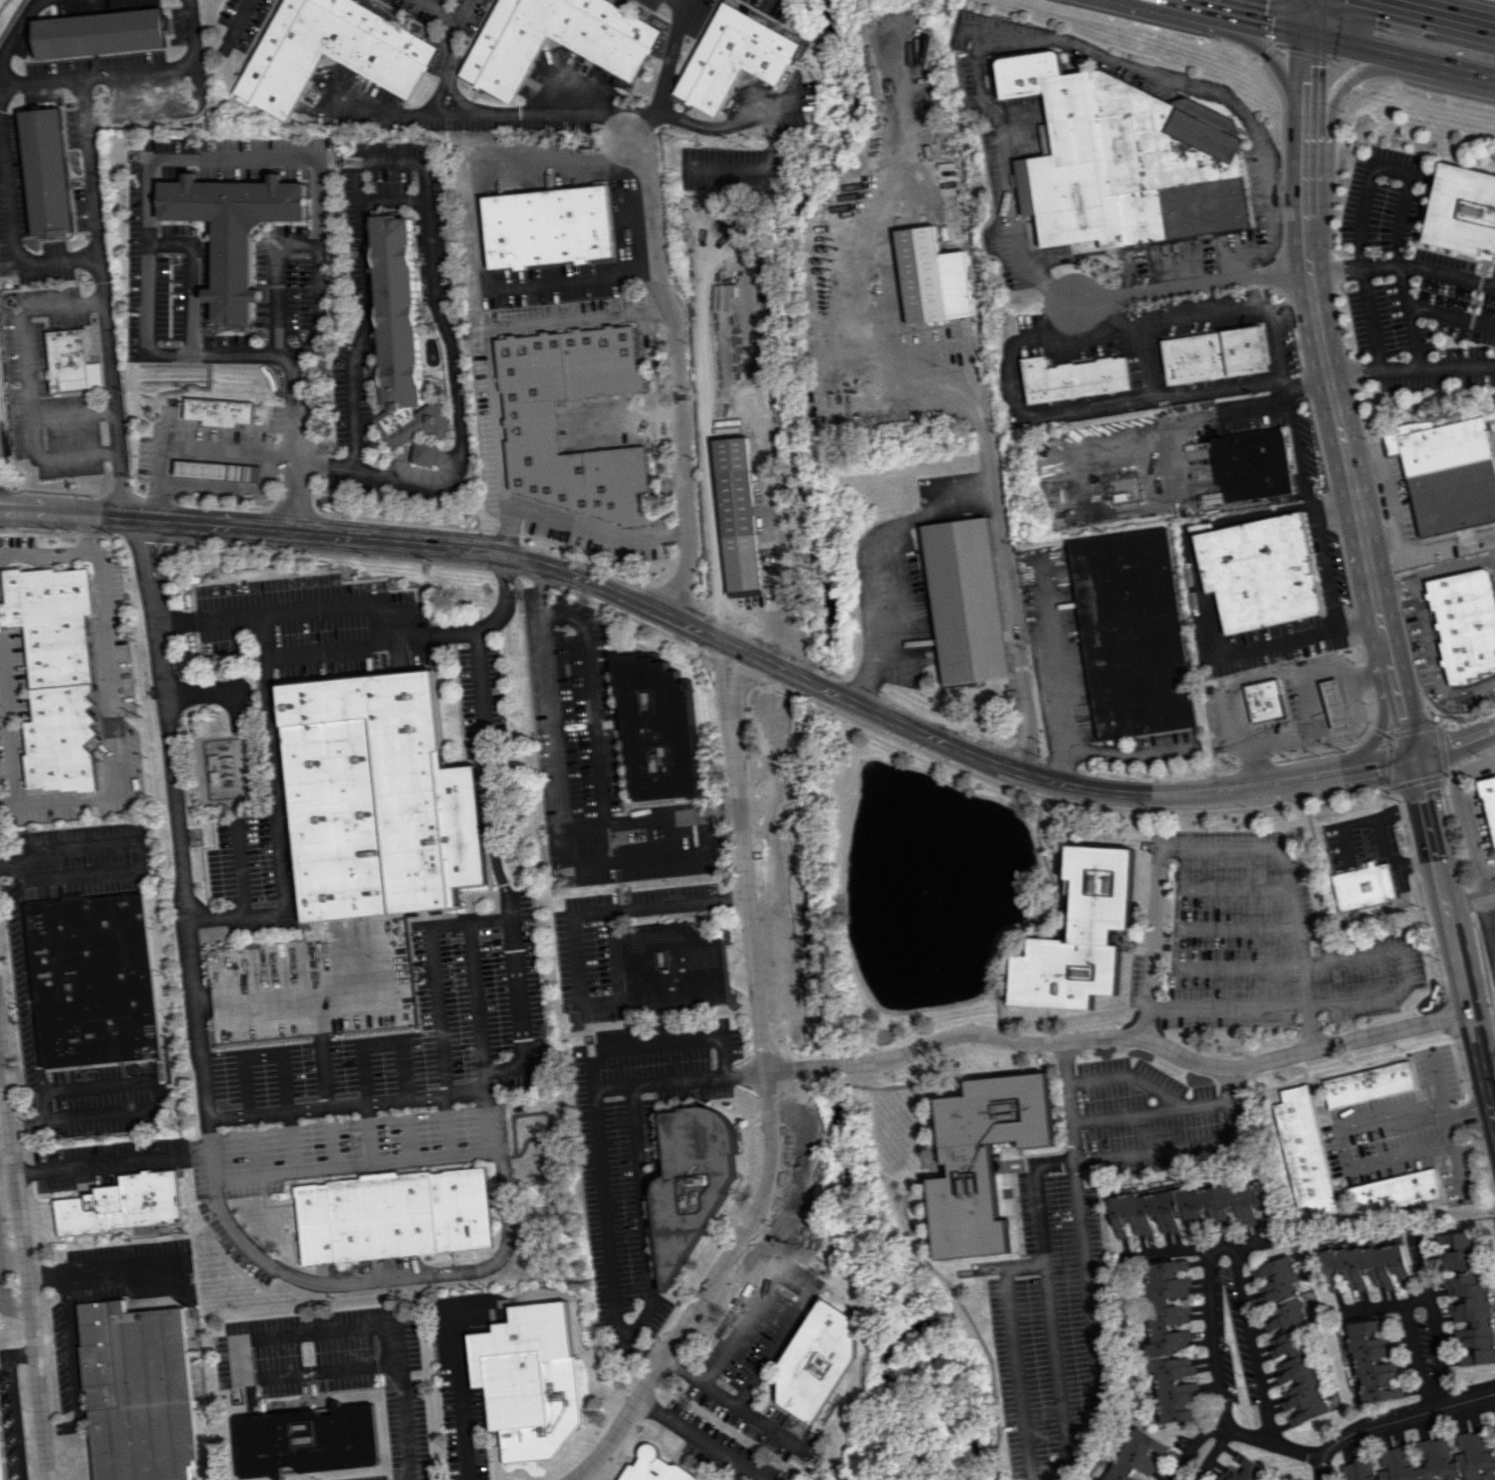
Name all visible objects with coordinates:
road: (1202, 1)
road: (684, 3)
road: (1423, 7)
road: (436, 10)
road: (1427, 13)
road: (1307, 15)
road: (237, 17)
road: (1258, 17)
traffic signals: (1308, 31)
building: (101, 32)
road: (11, 36)
building: (562, 37)
road: (1022, 38)
building: (335, 48)
building: (742, 51)
road: (449, 54)
road: (1401, 54)
road: (1272, 56)
road: (163, 66)
road: (664, 75)
road: (1347, 77)
road: (35, 81)
road: (1307, 82)
road: (158, 109)
road: (480, 111)
road: (721, 123)
road: (190, 158)
road: (759, 168)
building: (48, 171)
road: (1406, 171)
road: (625, 211)
building: (1462, 211)
road: (427, 222)
road: (13, 226)
building: (547, 226)
building: (233, 229)
road: (481, 238)
road: (1377, 265)
road: (99, 276)
building: (933, 277)
road: (275, 283)
road: (1190, 285)
road: (881, 299)
road: (1241, 306)
road: (1104, 316)
road: (1406, 317)
road: (1367, 320)
road: (22, 323)
building: (405, 343)
road: (488, 350)
building: (1212, 355)
building: (72, 362)
road: (1410, 370)
road: (677, 373)
building: (1074, 378)
road: (1304, 383)
parking lot: (47, 385)
road: (68, 393)
road: (1261, 407)
building: (218, 409)
road: (98, 412)
building: (529, 420)
road: (626, 420)
road: (757, 420)
road: (100, 432)
road: (35, 436)
parking lot: (198, 447)
road: (1341, 447)
road: (188, 448)
road: (102, 452)
building: (1250, 464)
road: (291, 469)
building: (219, 471)
gas station: (219, 471)
building: (1444, 473)
road: (103, 478)
road: (49, 492)
road: (116, 495)
road: (118, 497)
road: (138, 497)
road: (157, 500)
road: (23, 504)
road: (219, 505)
road: (1331, 509)
road: (22, 513)
building: (739, 513)
road: (67, 514)
road: (1308, 516)
road: (94, 517)
road: (89, 533)
road: (594, 533)
road: (44, 553)
road: (871, 557)
building: (1258, 572)
road: (1435, 573)
building: (746, 593)
building: (966, 601)
road: (315, 610)
building: (1465, 622)
road: (1359, 623)
building: (1131, 634)
road: (1016, 637)
road: (476, 653)
road: (760, 658)
road: (1434, 662)
road: (1349, 669)
road: (1293, 671)
building: (58, 674)
road: (1056, 675)
road: (592, 699)
building: (1264, 700)
building: (1335, 703)
road: (1228, 716)
road: (1298, 718)
road: (109, 719)
road: (1381, 724)
road: (9, 726)
building: (659, 729)
road: (1454, 741)
power substation: (224, 767)
road: (557, 782)
building: (377, 799)
building: (1489, 800)
road: (1463, 816)
road: (277, 817)
road: (492, 826)
road: (1223, 847)
road: (634, 855)
road: (136, 857)
road: (743, 858)
road: (178, 861)
road: (10, 863)
building: (1363, 886)
road: (1470, 898)
road: (570, 935)
building: (1080, 935)
road: (1488, 936)
road: (1172, 938)
road: (1454, 940)
building: (674, 966)
road: (1402, 971)
road: (31, 975)
building: (94, 981)
road: (434, 994)
road: (287, 995)
road: (1222, 1003)
road: (518, 1015)
road: (1485, 1033)
road: (1120, 1039)
road: (1063, 1064)
road: (1128, 1076)
building: (1368, 1084)
road: (153, 1094)
road: (463, 1094)
road: (1121, 1113)
road: (1468, 1116)
road: (596, 1117)
road: (40, 1119)
road: (442, 1126)
road: (366, 1133)
road: (290, 1140)
road: (1172, 1147)
building: (1305, 1150)
road: (1339, 1152)
building: (984, 1158)
road: (96, 1164)
road: (352, 1164)
road: (638, 1168)
road: (1456, 1174)
building: (693, 1178)
building: (1394, 1191)
building: (122, 1207)
building: (1189, 1207)
building: (393, 1216)
road: (1209, 1248)
road: (23, 1259)
building: (1367, 1266)
road: (99, 1271)
road: (424, 1273)
road: (1429, 1276)
road: (795, 1282)
road: (1009, 1286)
road: (707, 1288)
building: (1467, 1297)
road: (12, 1307)
road: (1388, 1308)
road: (1092, 1328)
building: (1170, 1339)
road: (1212, 1340)
road: (235, 1341)
building: (1291, 1343)
road: (1246, 1344)
road: (1433, 1356)
road: (1057, 1359)
building: (818, 1360)
road: (1413, 1360)
building: (1372, 1362)
road: (69, 1363)
building: (529, 1369)
building: (136, 1392)
road: (458, 1393)
road: (12, 1406)
road: (1401, 1418)
road: (403, 1422)
road: (764, 1425)
building: (1493, 1429)
road: (691, 1431)
road: (1237, 1434)
building: (306, 1440)
building: (1134, 1455)
road: (1211, 1456)
building: (1428, 1461)
building: (652, 1467)
building: (1244, 1470)
road: (736, 1472)
road: (753, 1472)
road: (1322, 1472)
building: (0, 1475)

